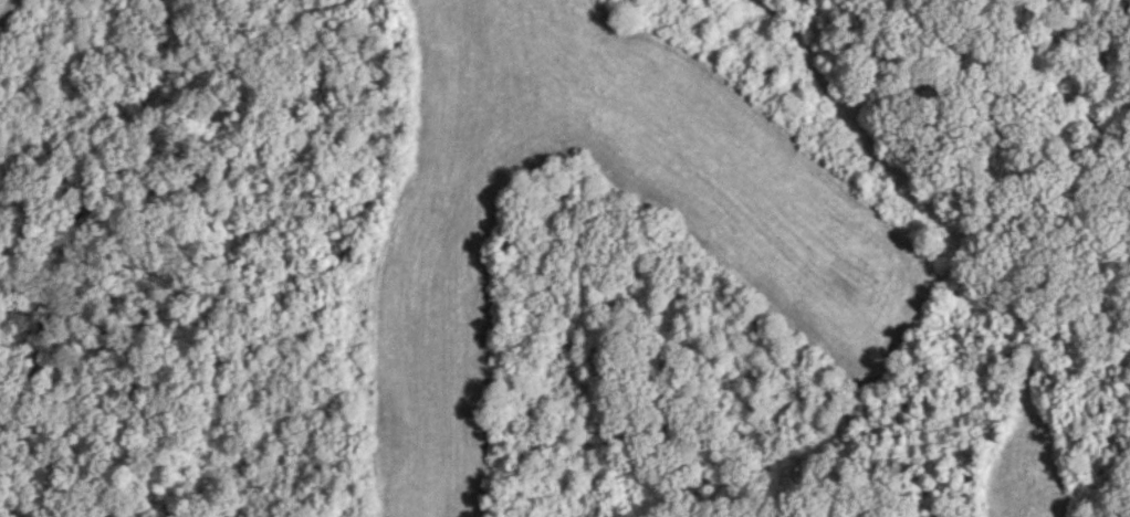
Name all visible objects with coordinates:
road: (855, 124)
road: (970, 376)

